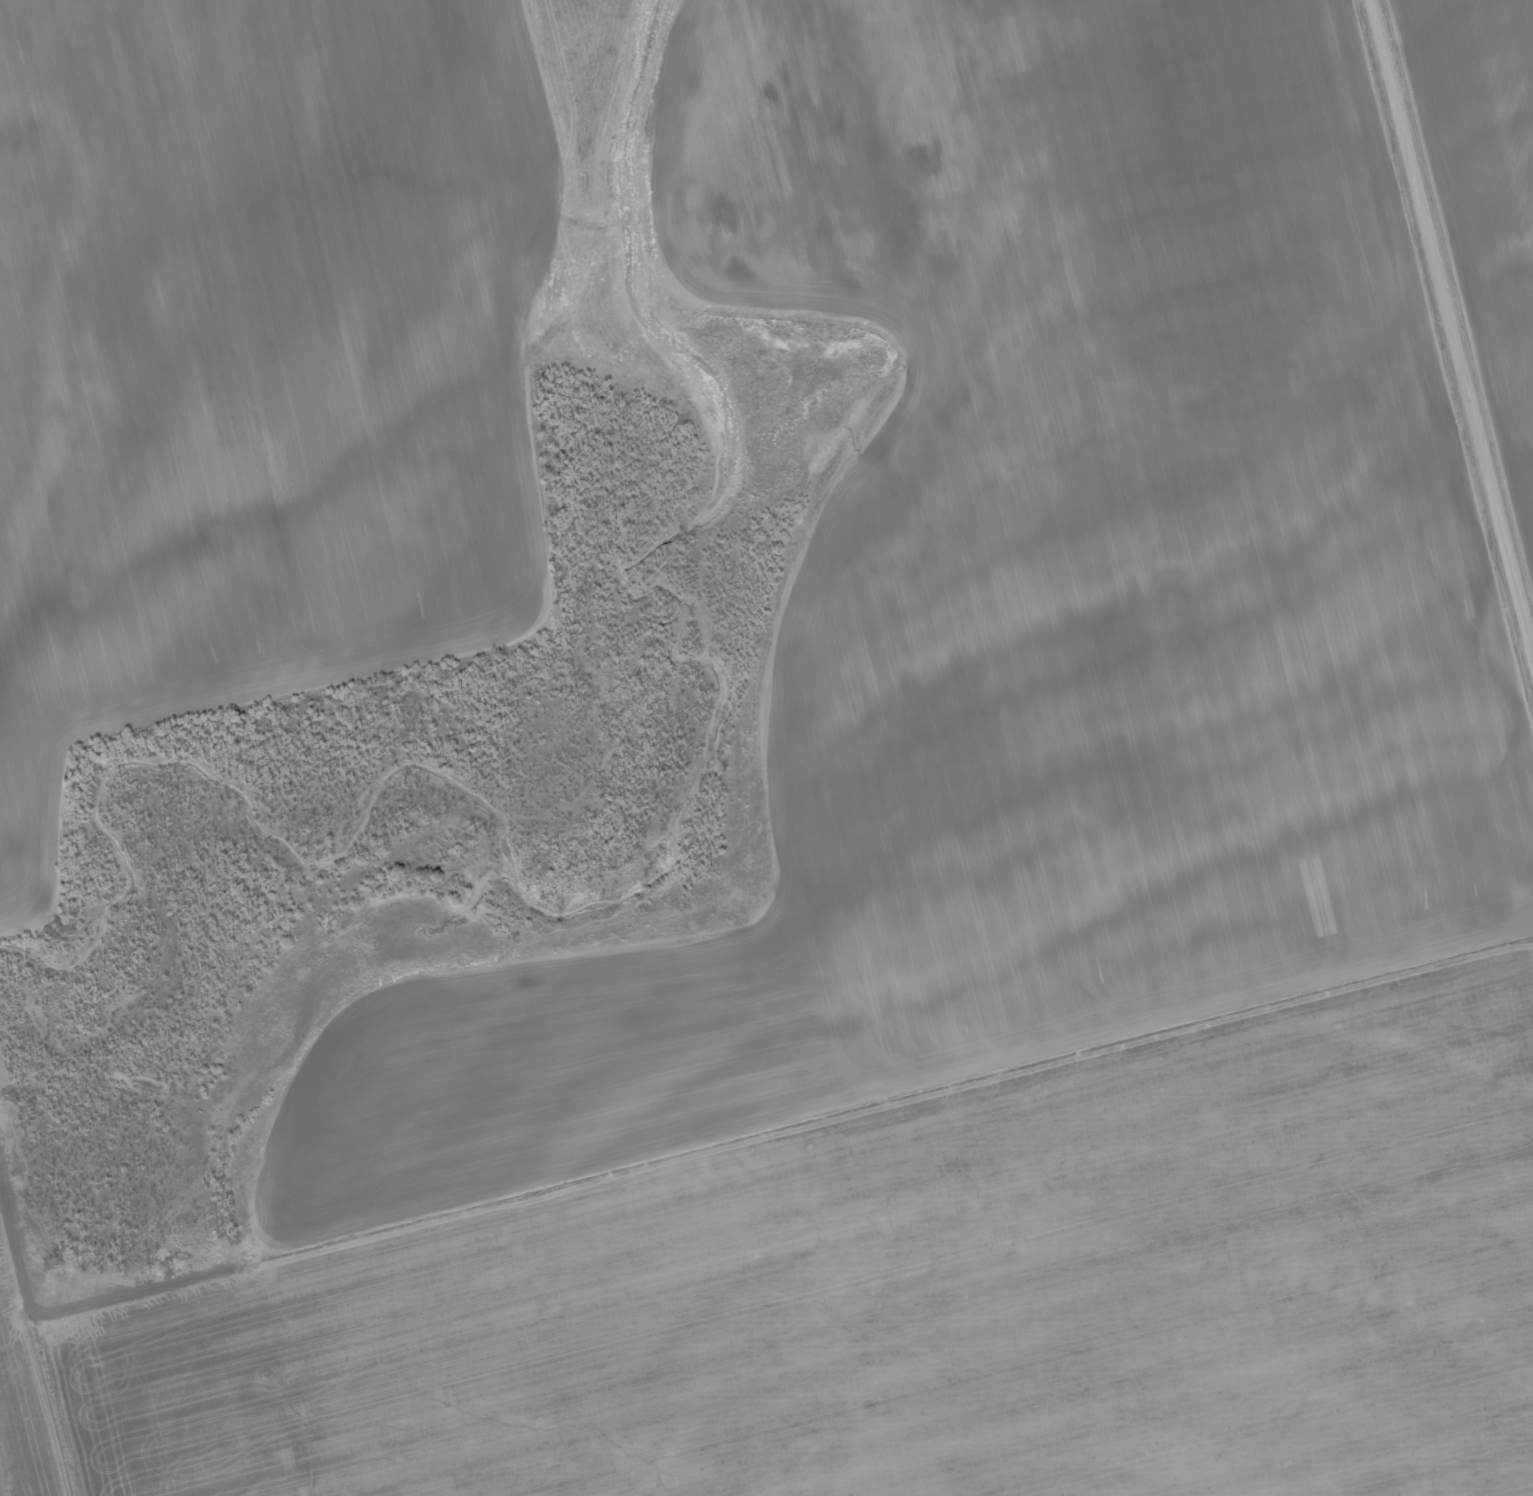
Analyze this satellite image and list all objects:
road: (1456, 335)

